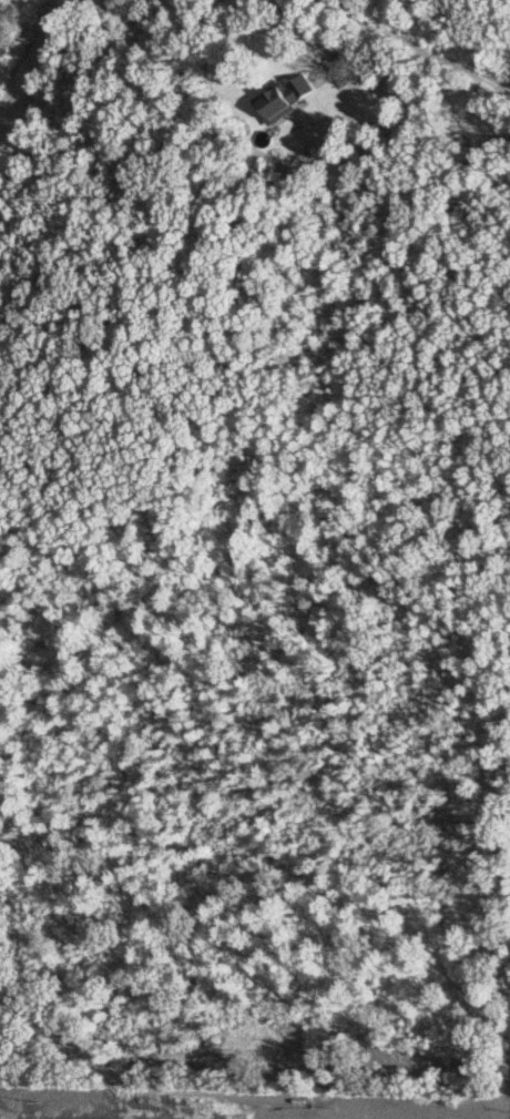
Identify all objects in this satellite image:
road: (336, 31)
road: (422, 48)
building: (286, 100)

